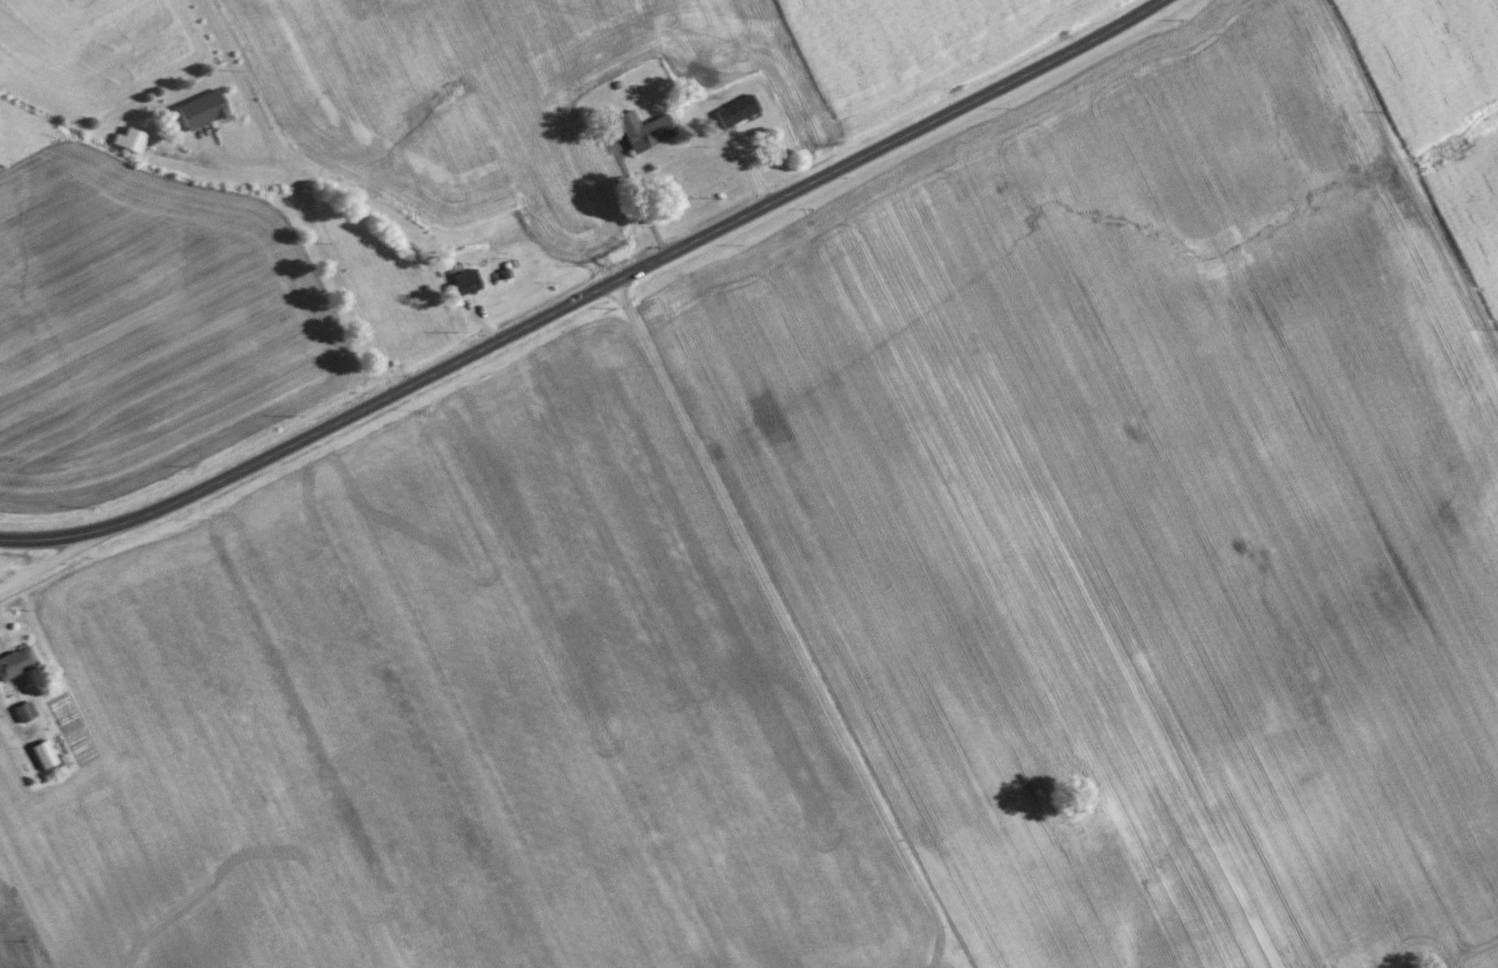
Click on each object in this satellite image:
building: (202, 110)
building: (738, 112)
building: (646, 131)
building: (131, 140)
road: (1405, 178)
road: (291, 199)
road: (639, 206)
building: (467, 282)
road: (591, 295)
road: (49, 561)
road: (783, 625)
building: (17, 662)
building: (27, 710)
building: (46, 753)

